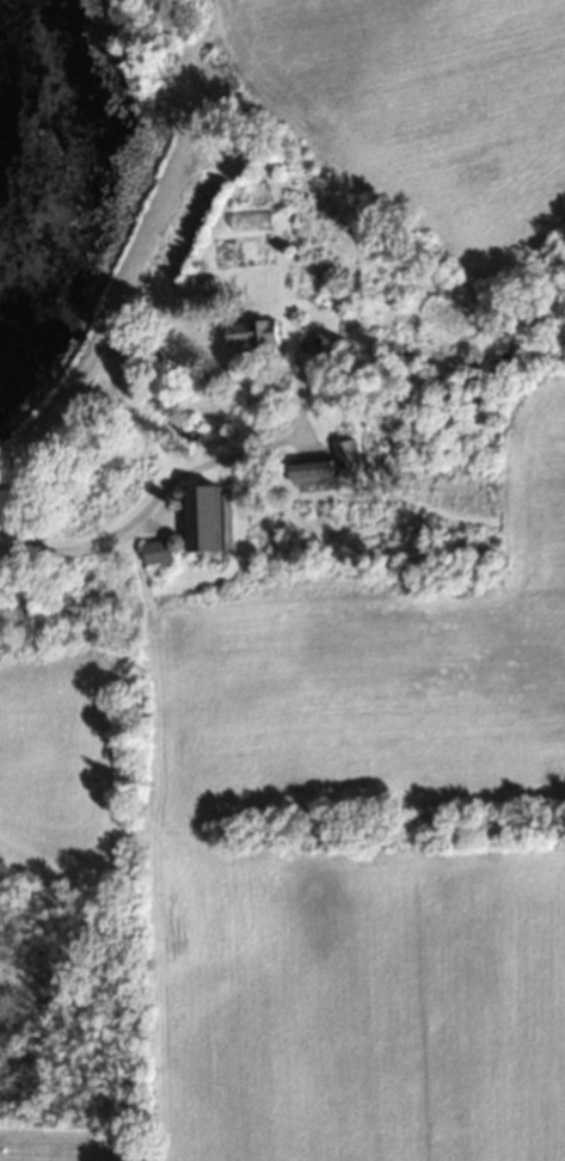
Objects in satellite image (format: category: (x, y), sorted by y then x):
building: (256, 336)
building: (309, 349)
building: (327, 466)
road: (151, 497)
building: (196, 529)

